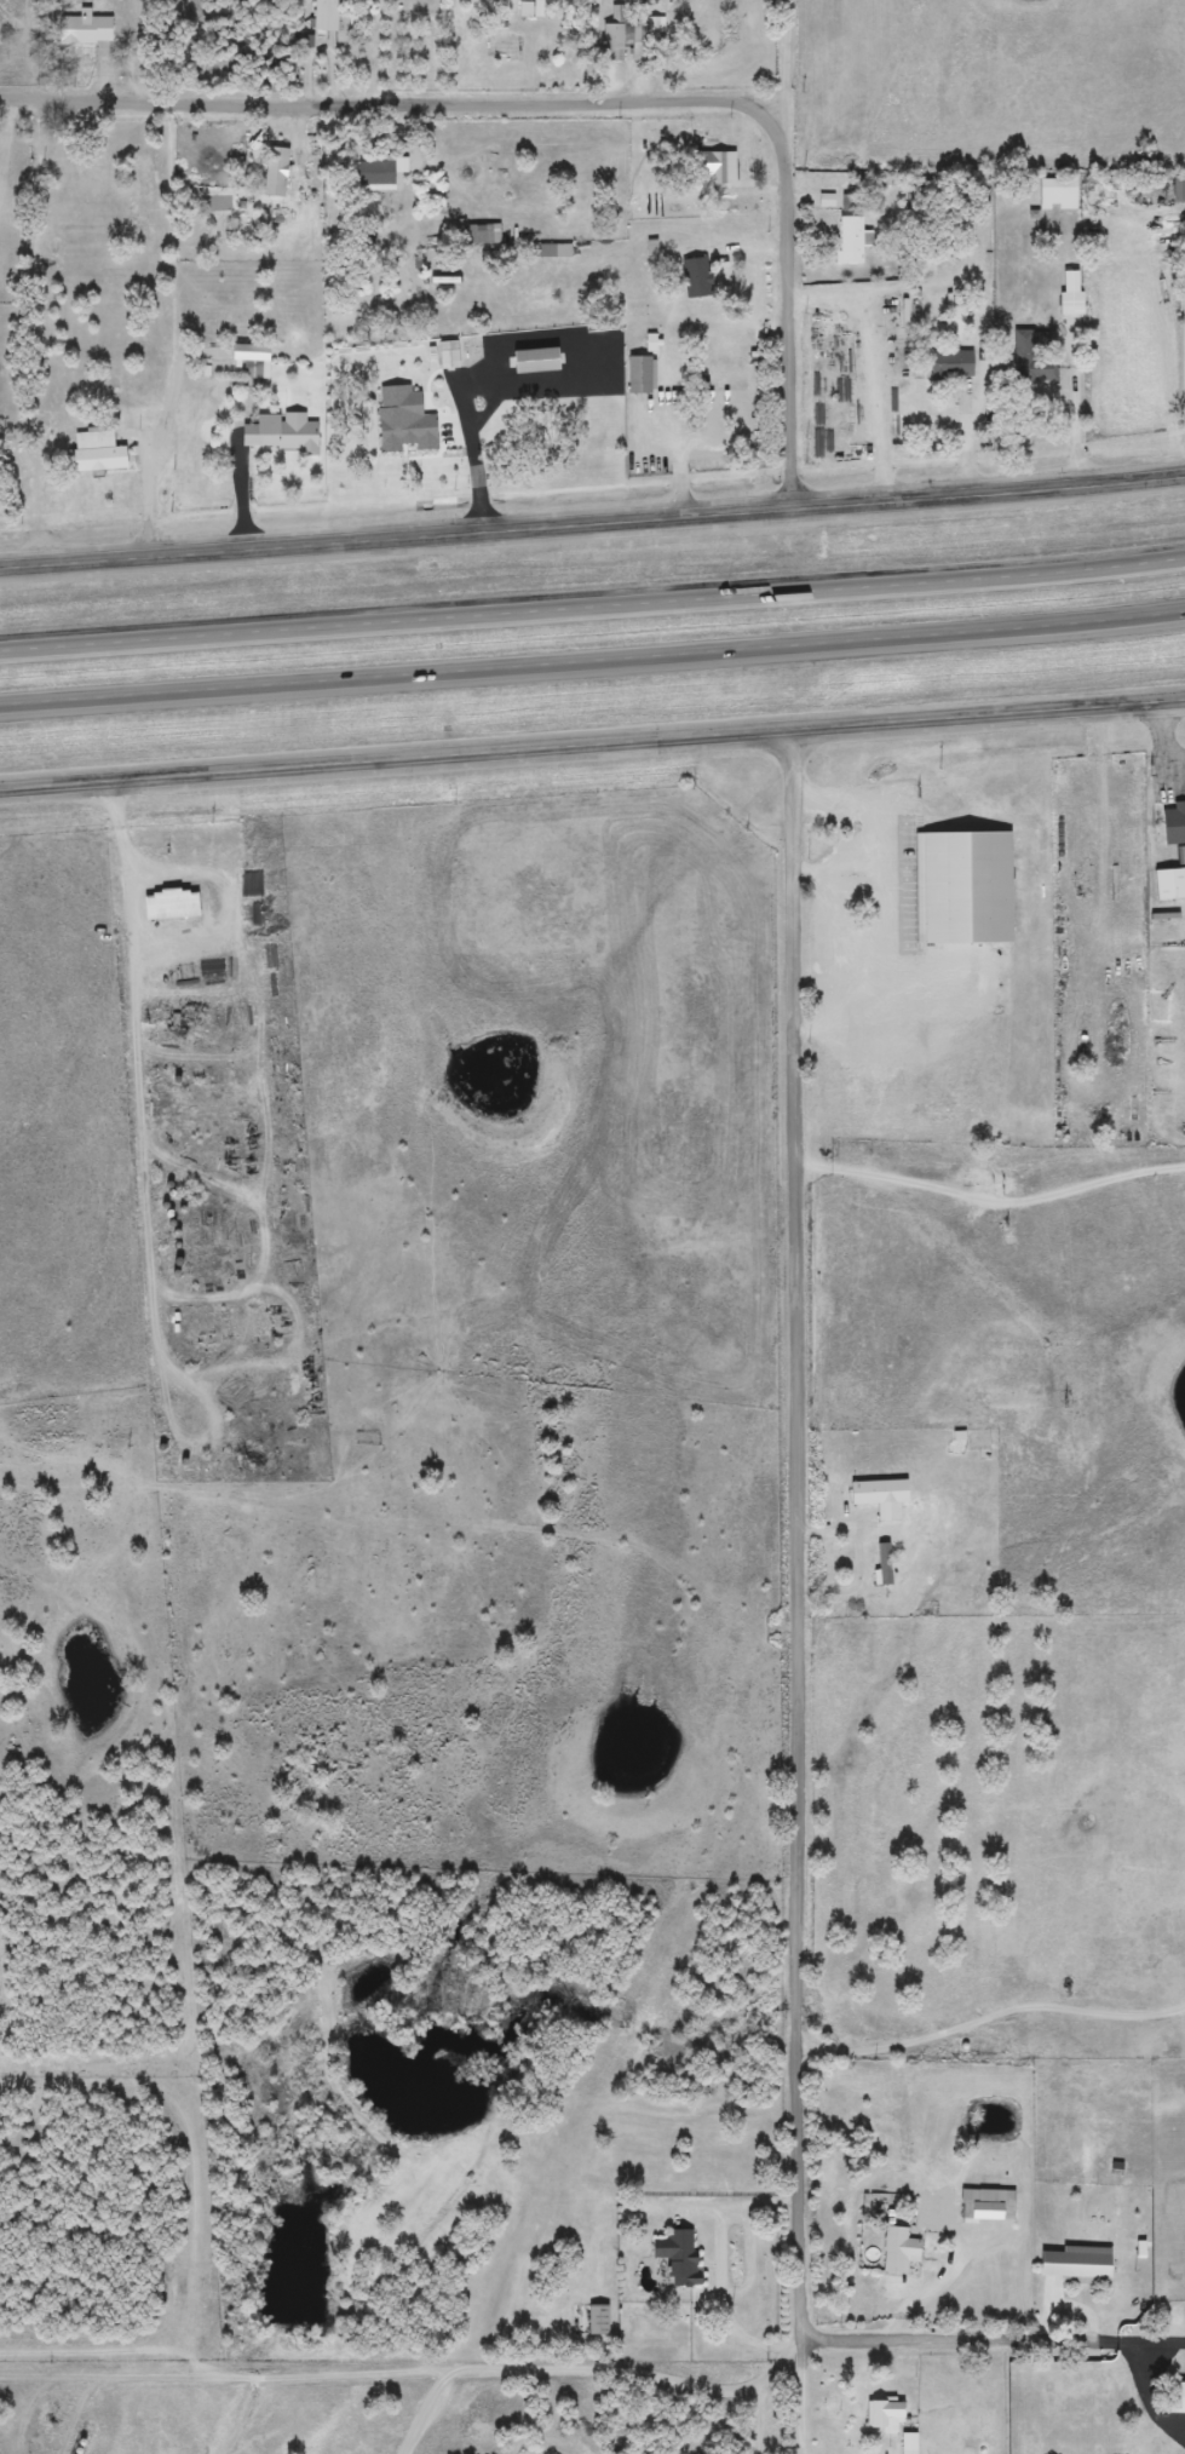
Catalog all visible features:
building: (529, 7)
building: (324, 15)
building: (652, 23)
building: (94, 27)
building: (500, 42)
building: (611, 42)
road: (585, 105)
building: (713, 167)
building: (375, 168)
building: (274, 172)
building: (1057, 194)
building: (483, 234)
building: (847, 240)
building: (553, 251)
building: (695, 277)
building: (1069, 293)
building: (533, 361)
building: (949, 366)
building: (1042, 370)
building: (639, 375)
building: (401, 421)
building: (284, 432)
building: (100, 453)
road: (592, 527)
road: (592, 605)
road: (592, 660)
road: (593, 753)
building: (1173, 821)
building: (1167, 884)
building: (962, 889)
building: (172, 904)
building: (875, 1492)
building: (882, 1563)
road: (813, 1686)
building: (989, 2214)
building: (898, 2251)
building: (677, 2255)
building: (1075, 2265)
building: (596, 2320)
building: (1081, 2413)
building: (882, 2415)
building: (908, 2443)

